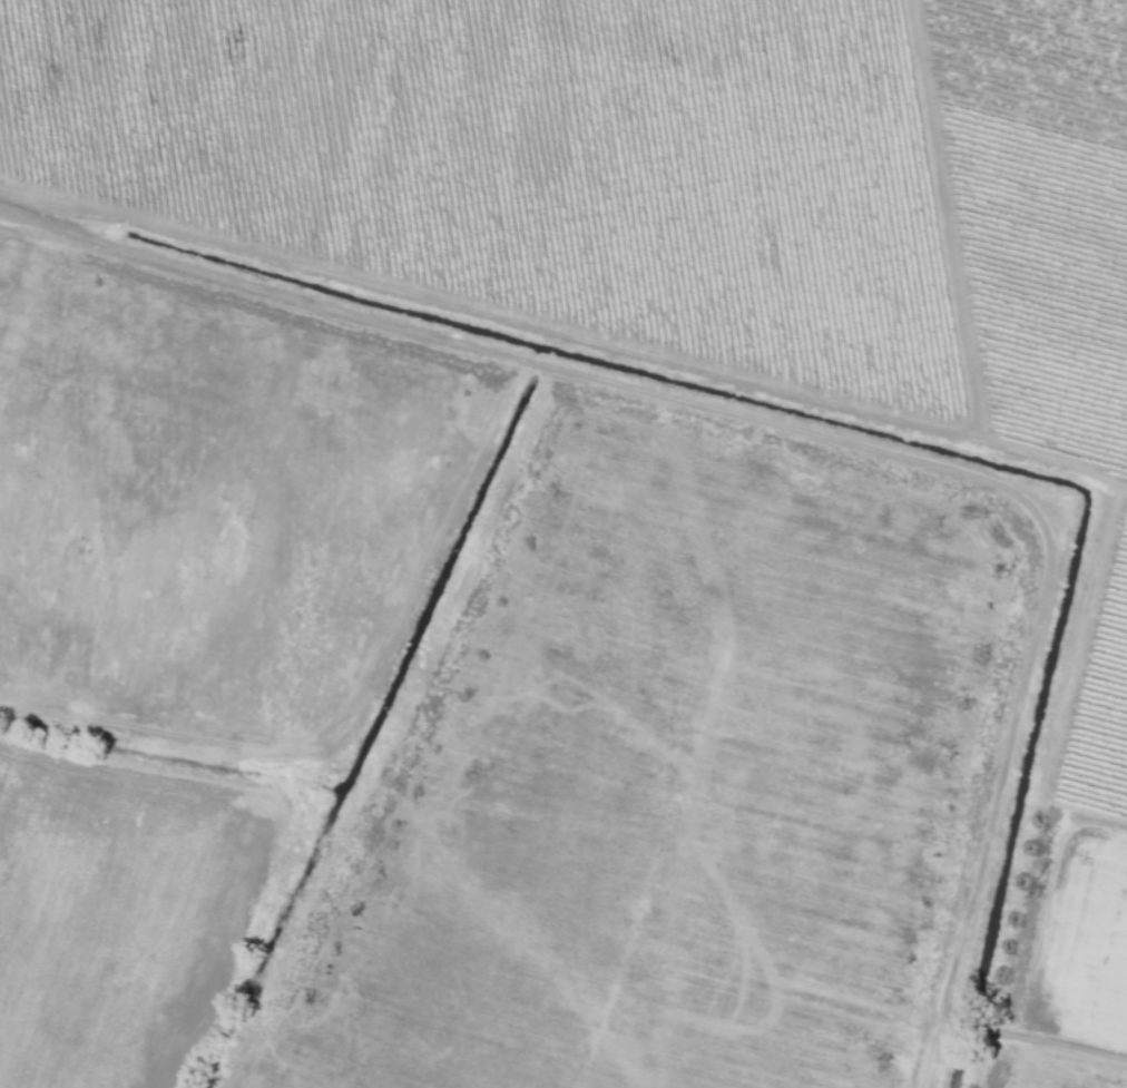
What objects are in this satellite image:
road: (1065, 1045)

